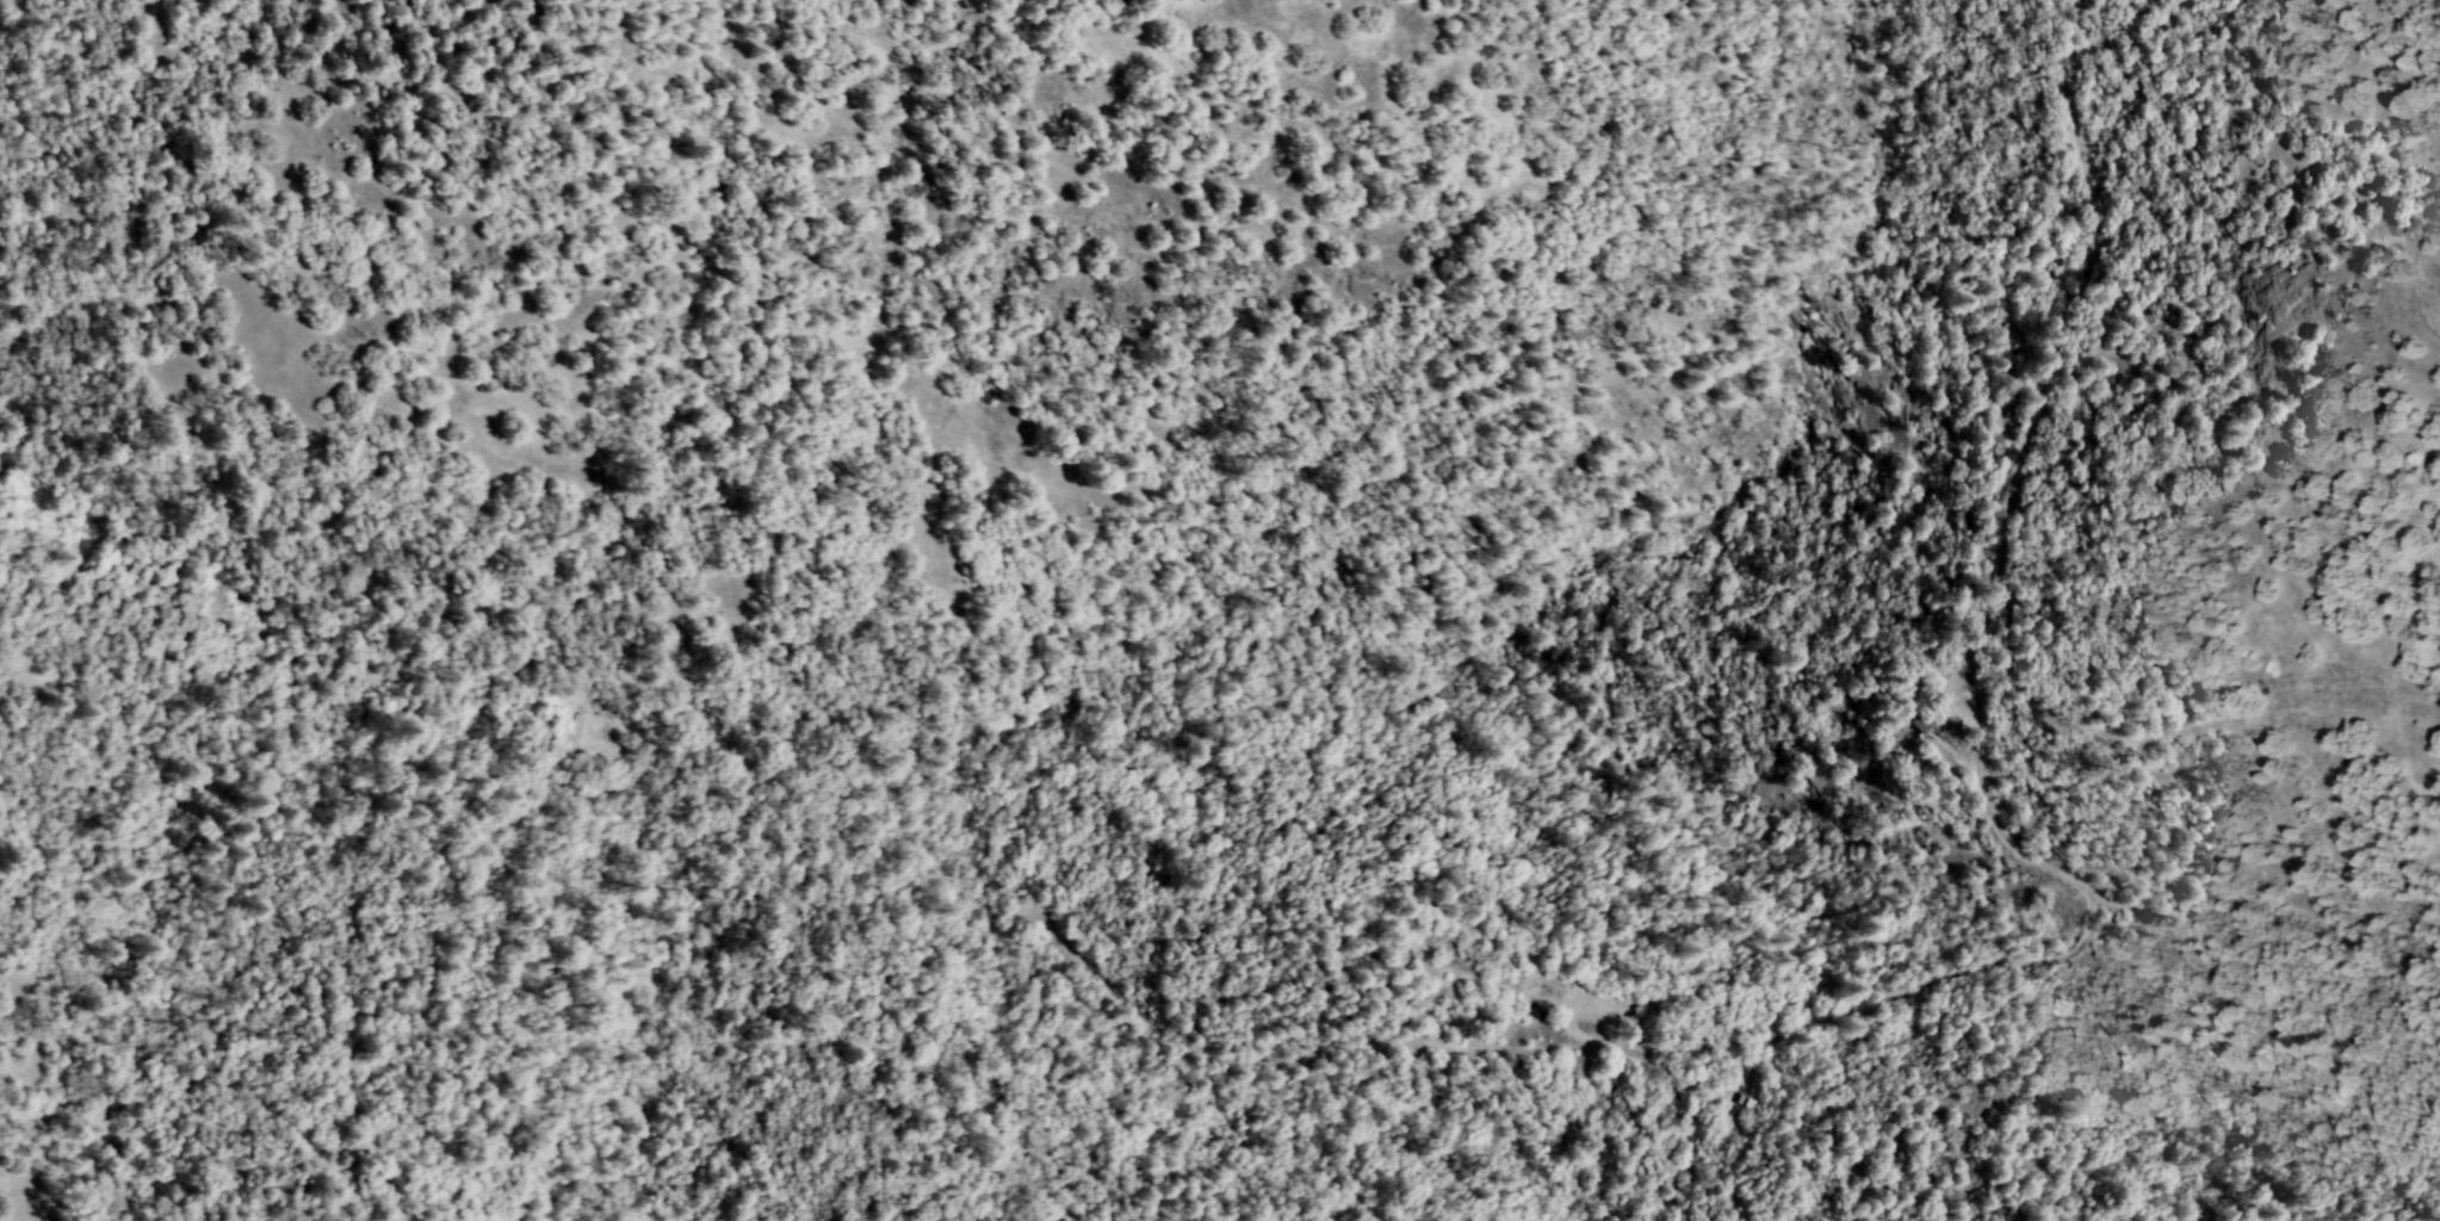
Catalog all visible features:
road: (2044, 346)

